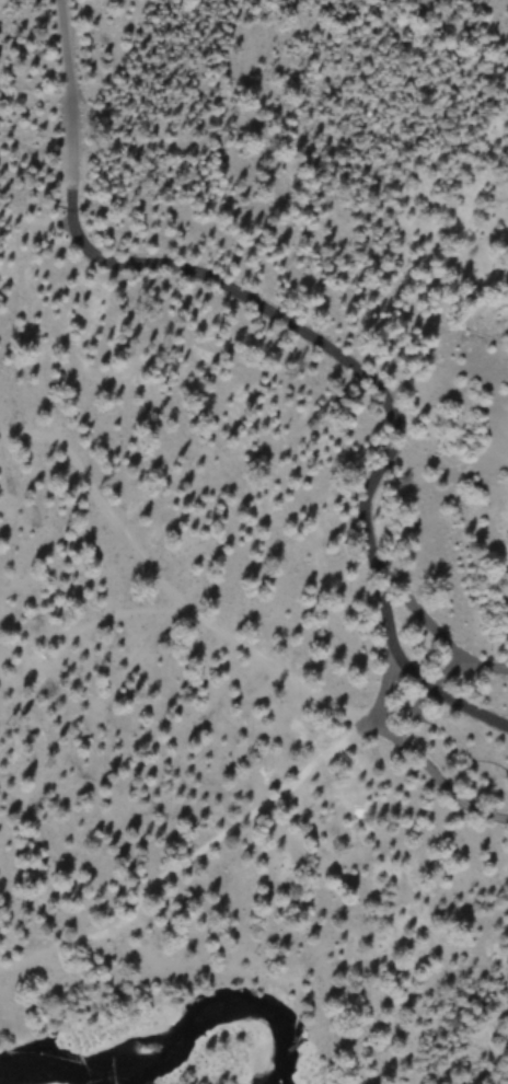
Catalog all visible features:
road: (68, 95)
road: (38, 192)
road: (378, 399)
river: (152, 1047)

